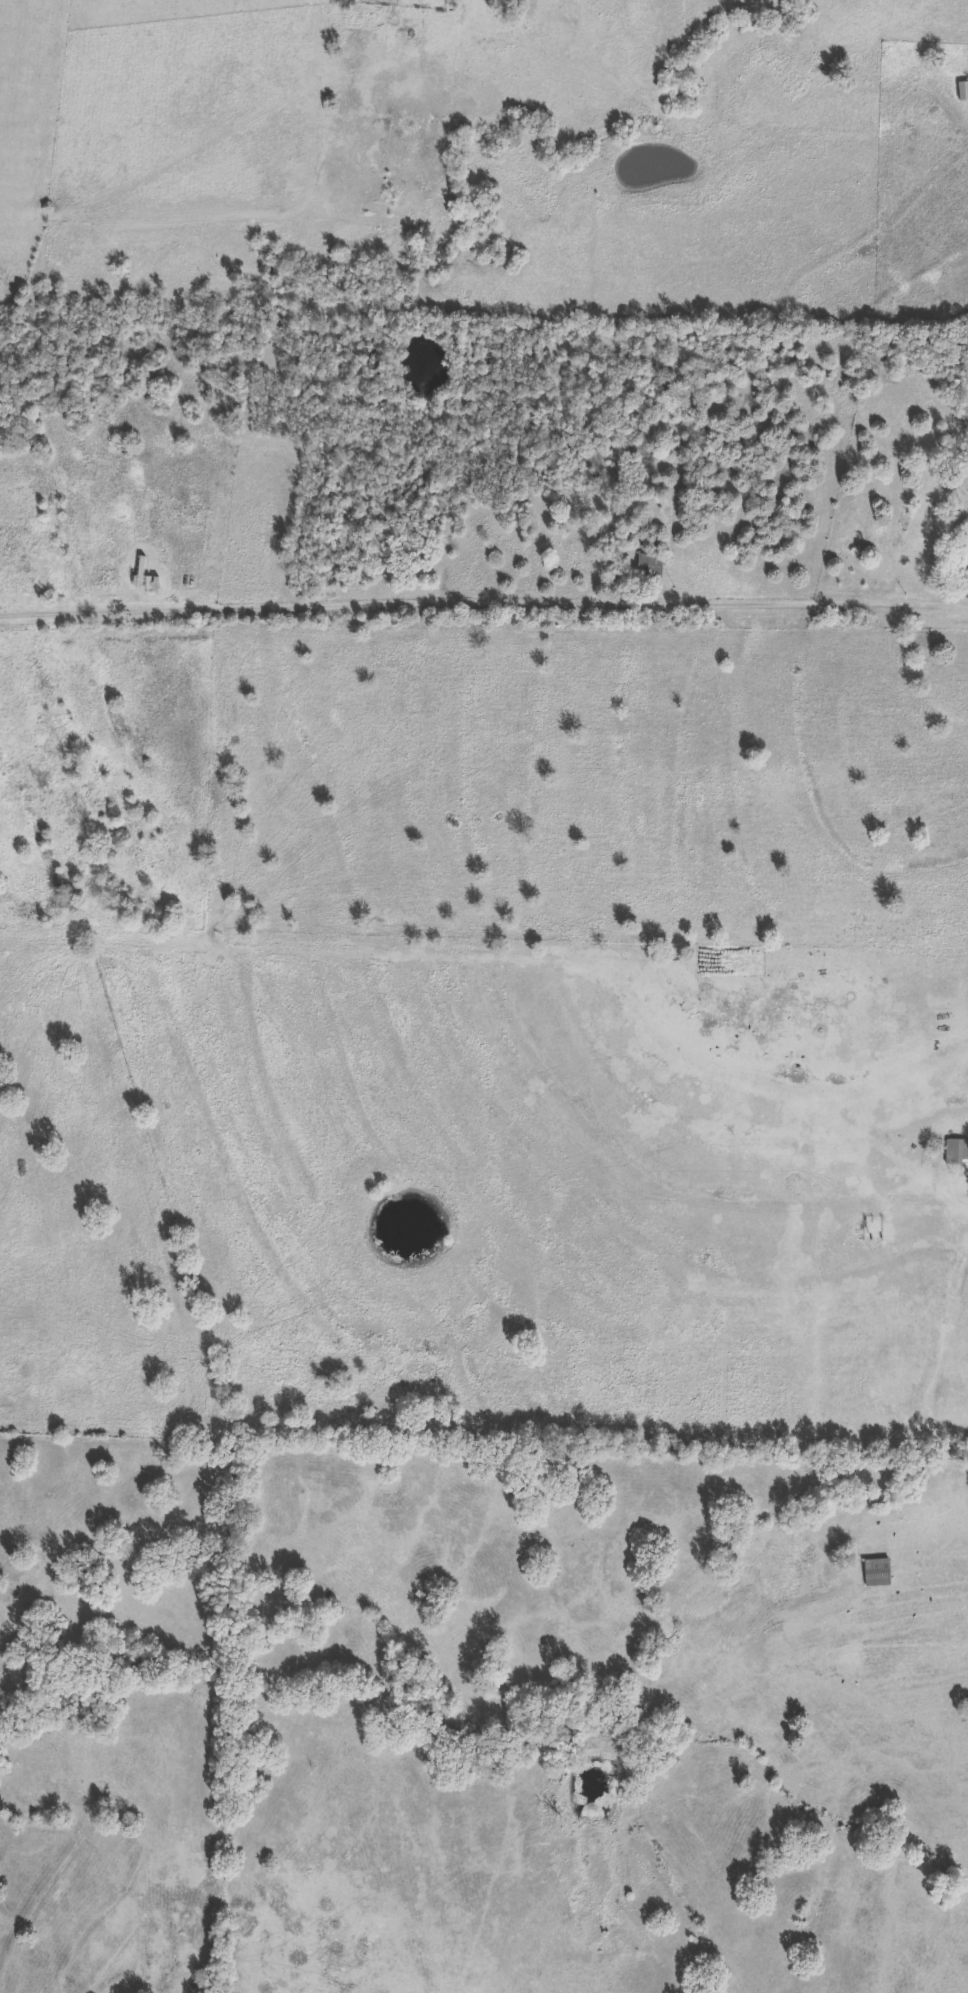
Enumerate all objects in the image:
building: (963, 92)
road: (209, 170)
building: (965, 556)
building: (651, 568)
building: (151, 586)
road: (483, 599)
building: (957, 1153)
road: (955, 1192)
building: (878, 1573)

